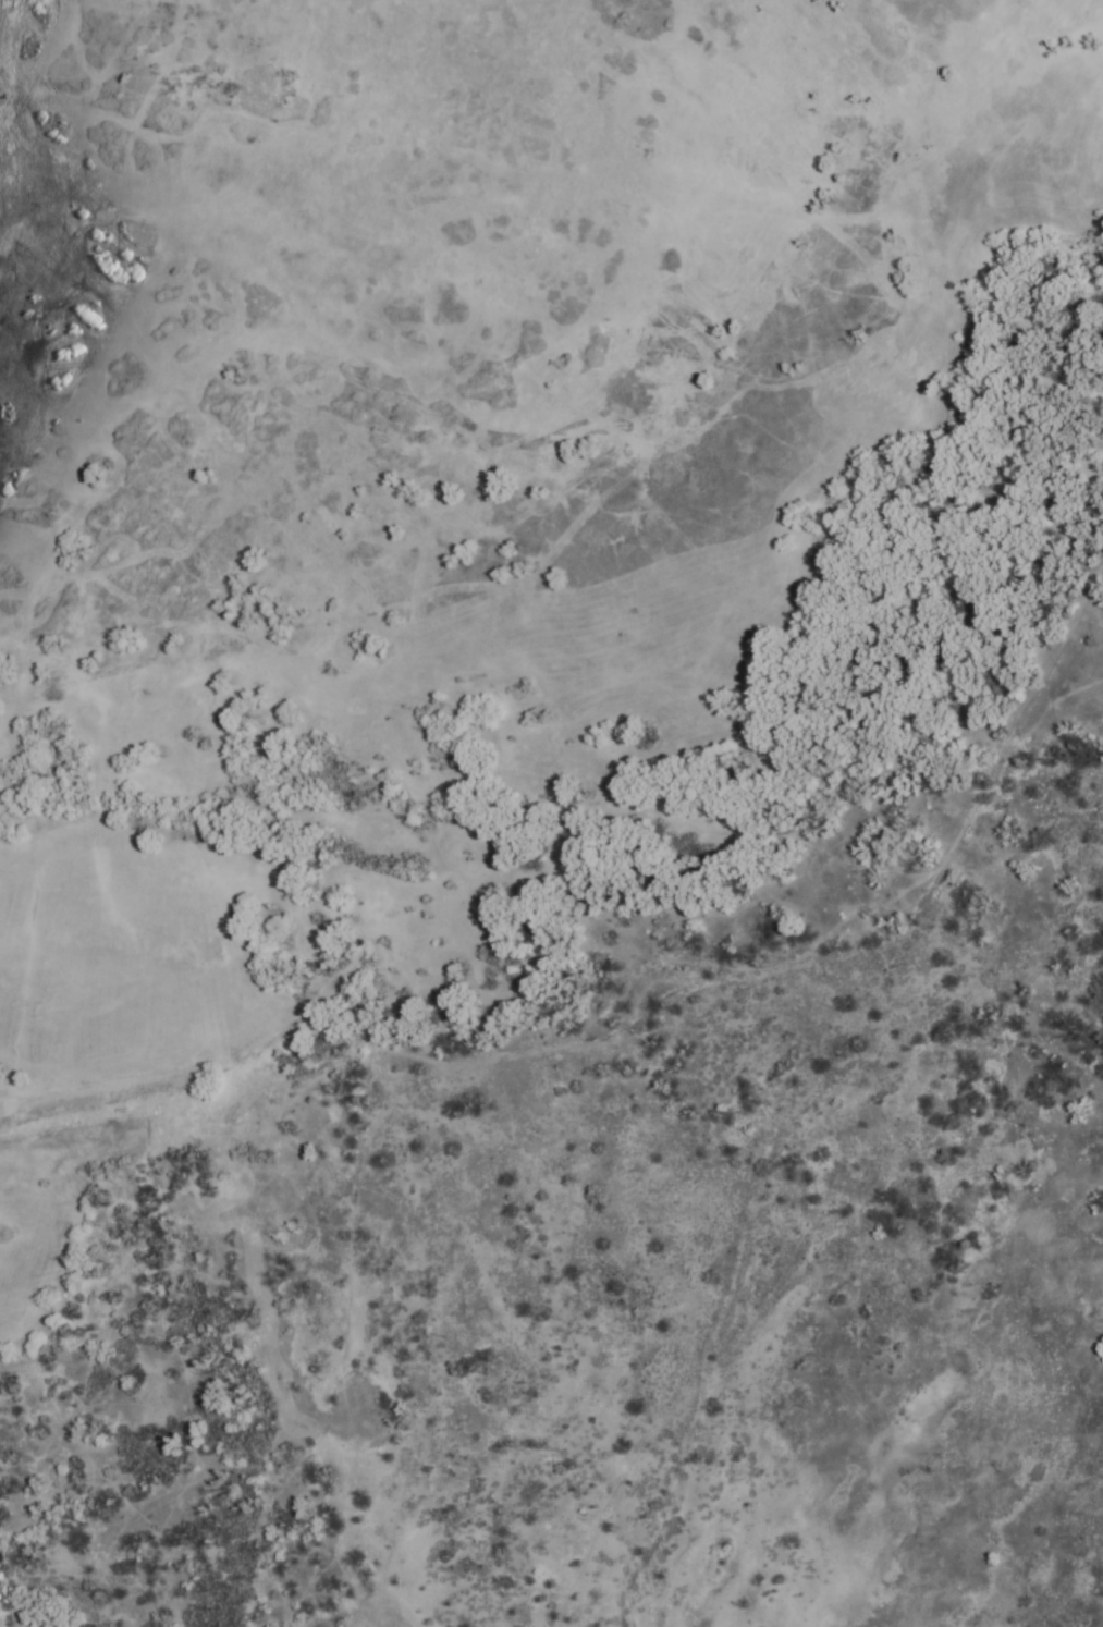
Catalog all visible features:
road: (142, 1105)
road: (26, 1127)

